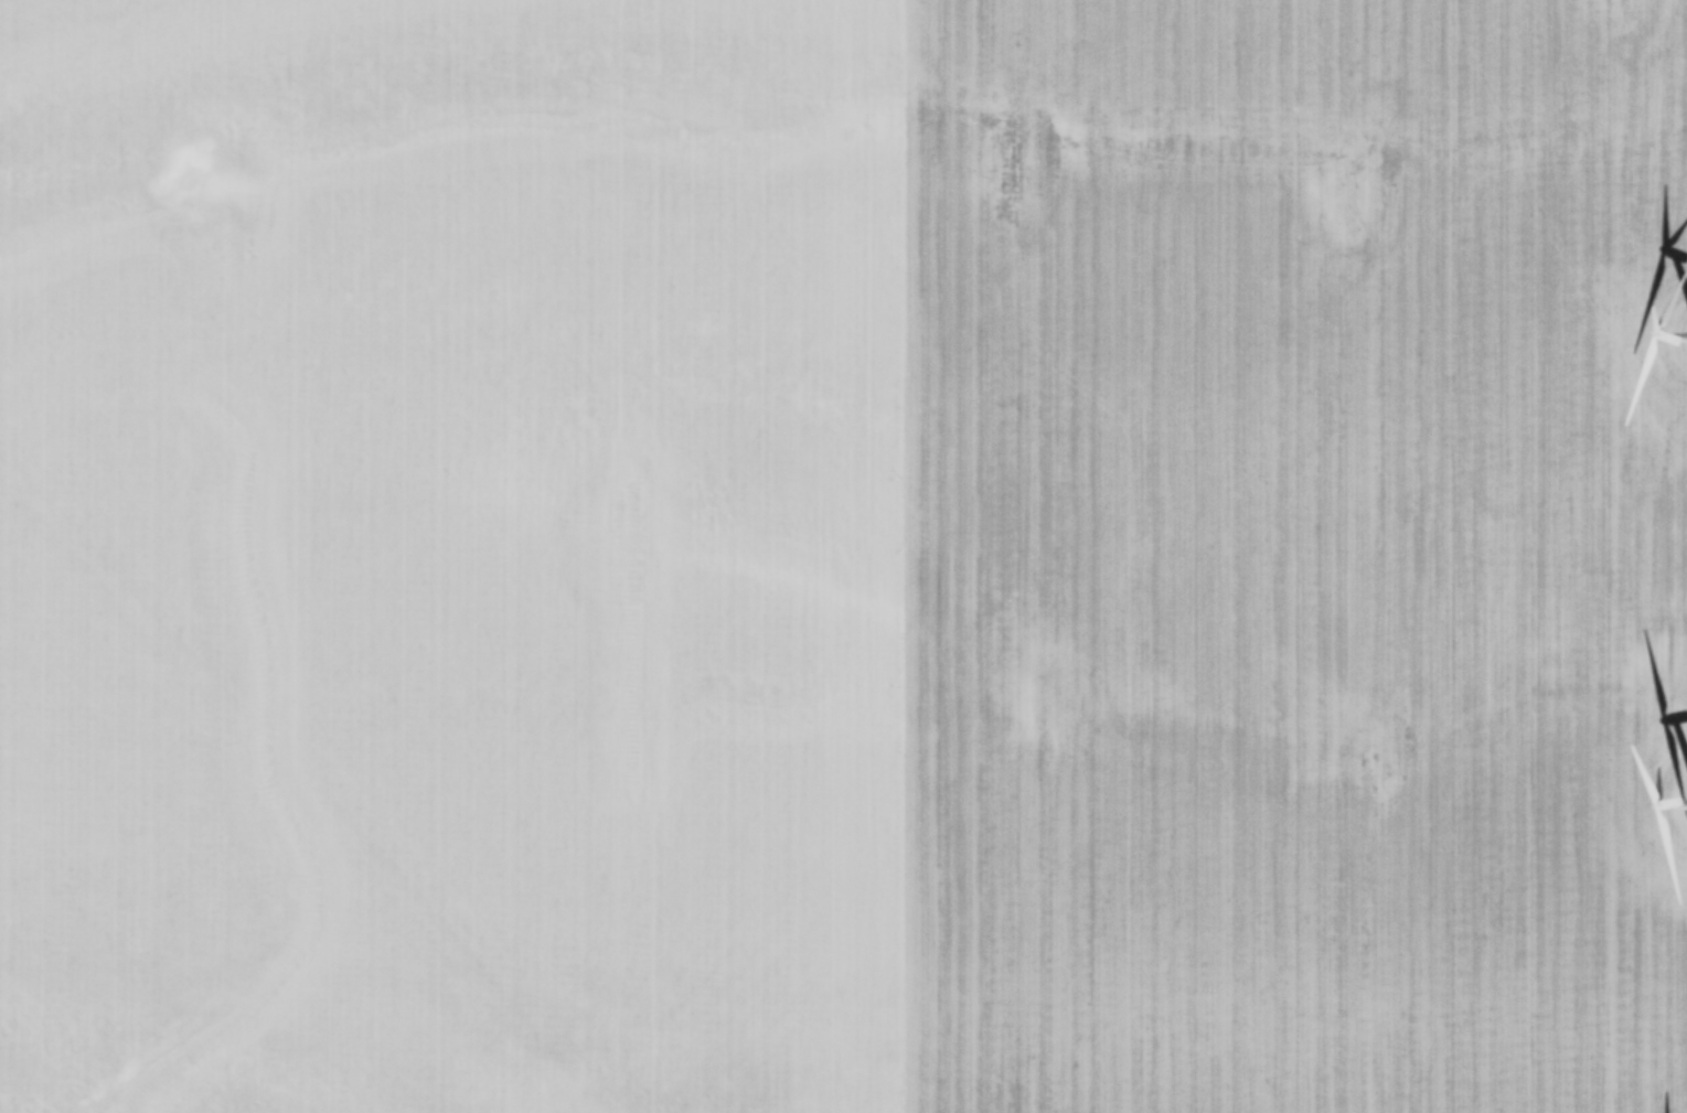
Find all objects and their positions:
wind turbine: (1686, 352)
wind turbine: (1679, 811)

